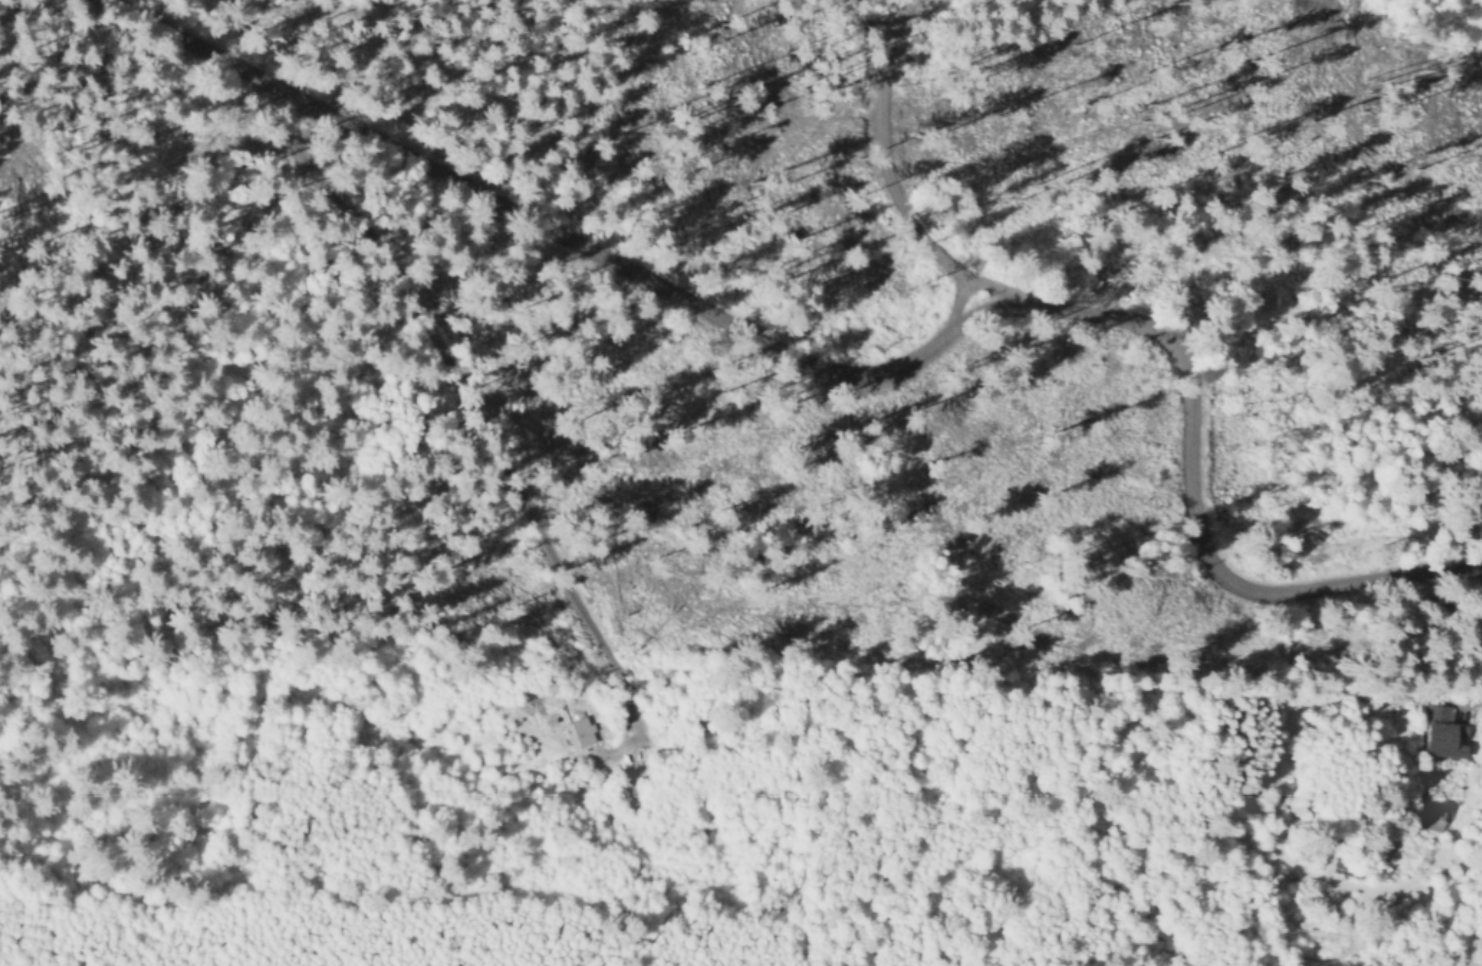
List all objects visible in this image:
road: (878, 370)
building: (578, 734)
building: (1437, 734)
building: (632, 800)
building: (1433, 820)
building: (1344, 870)

